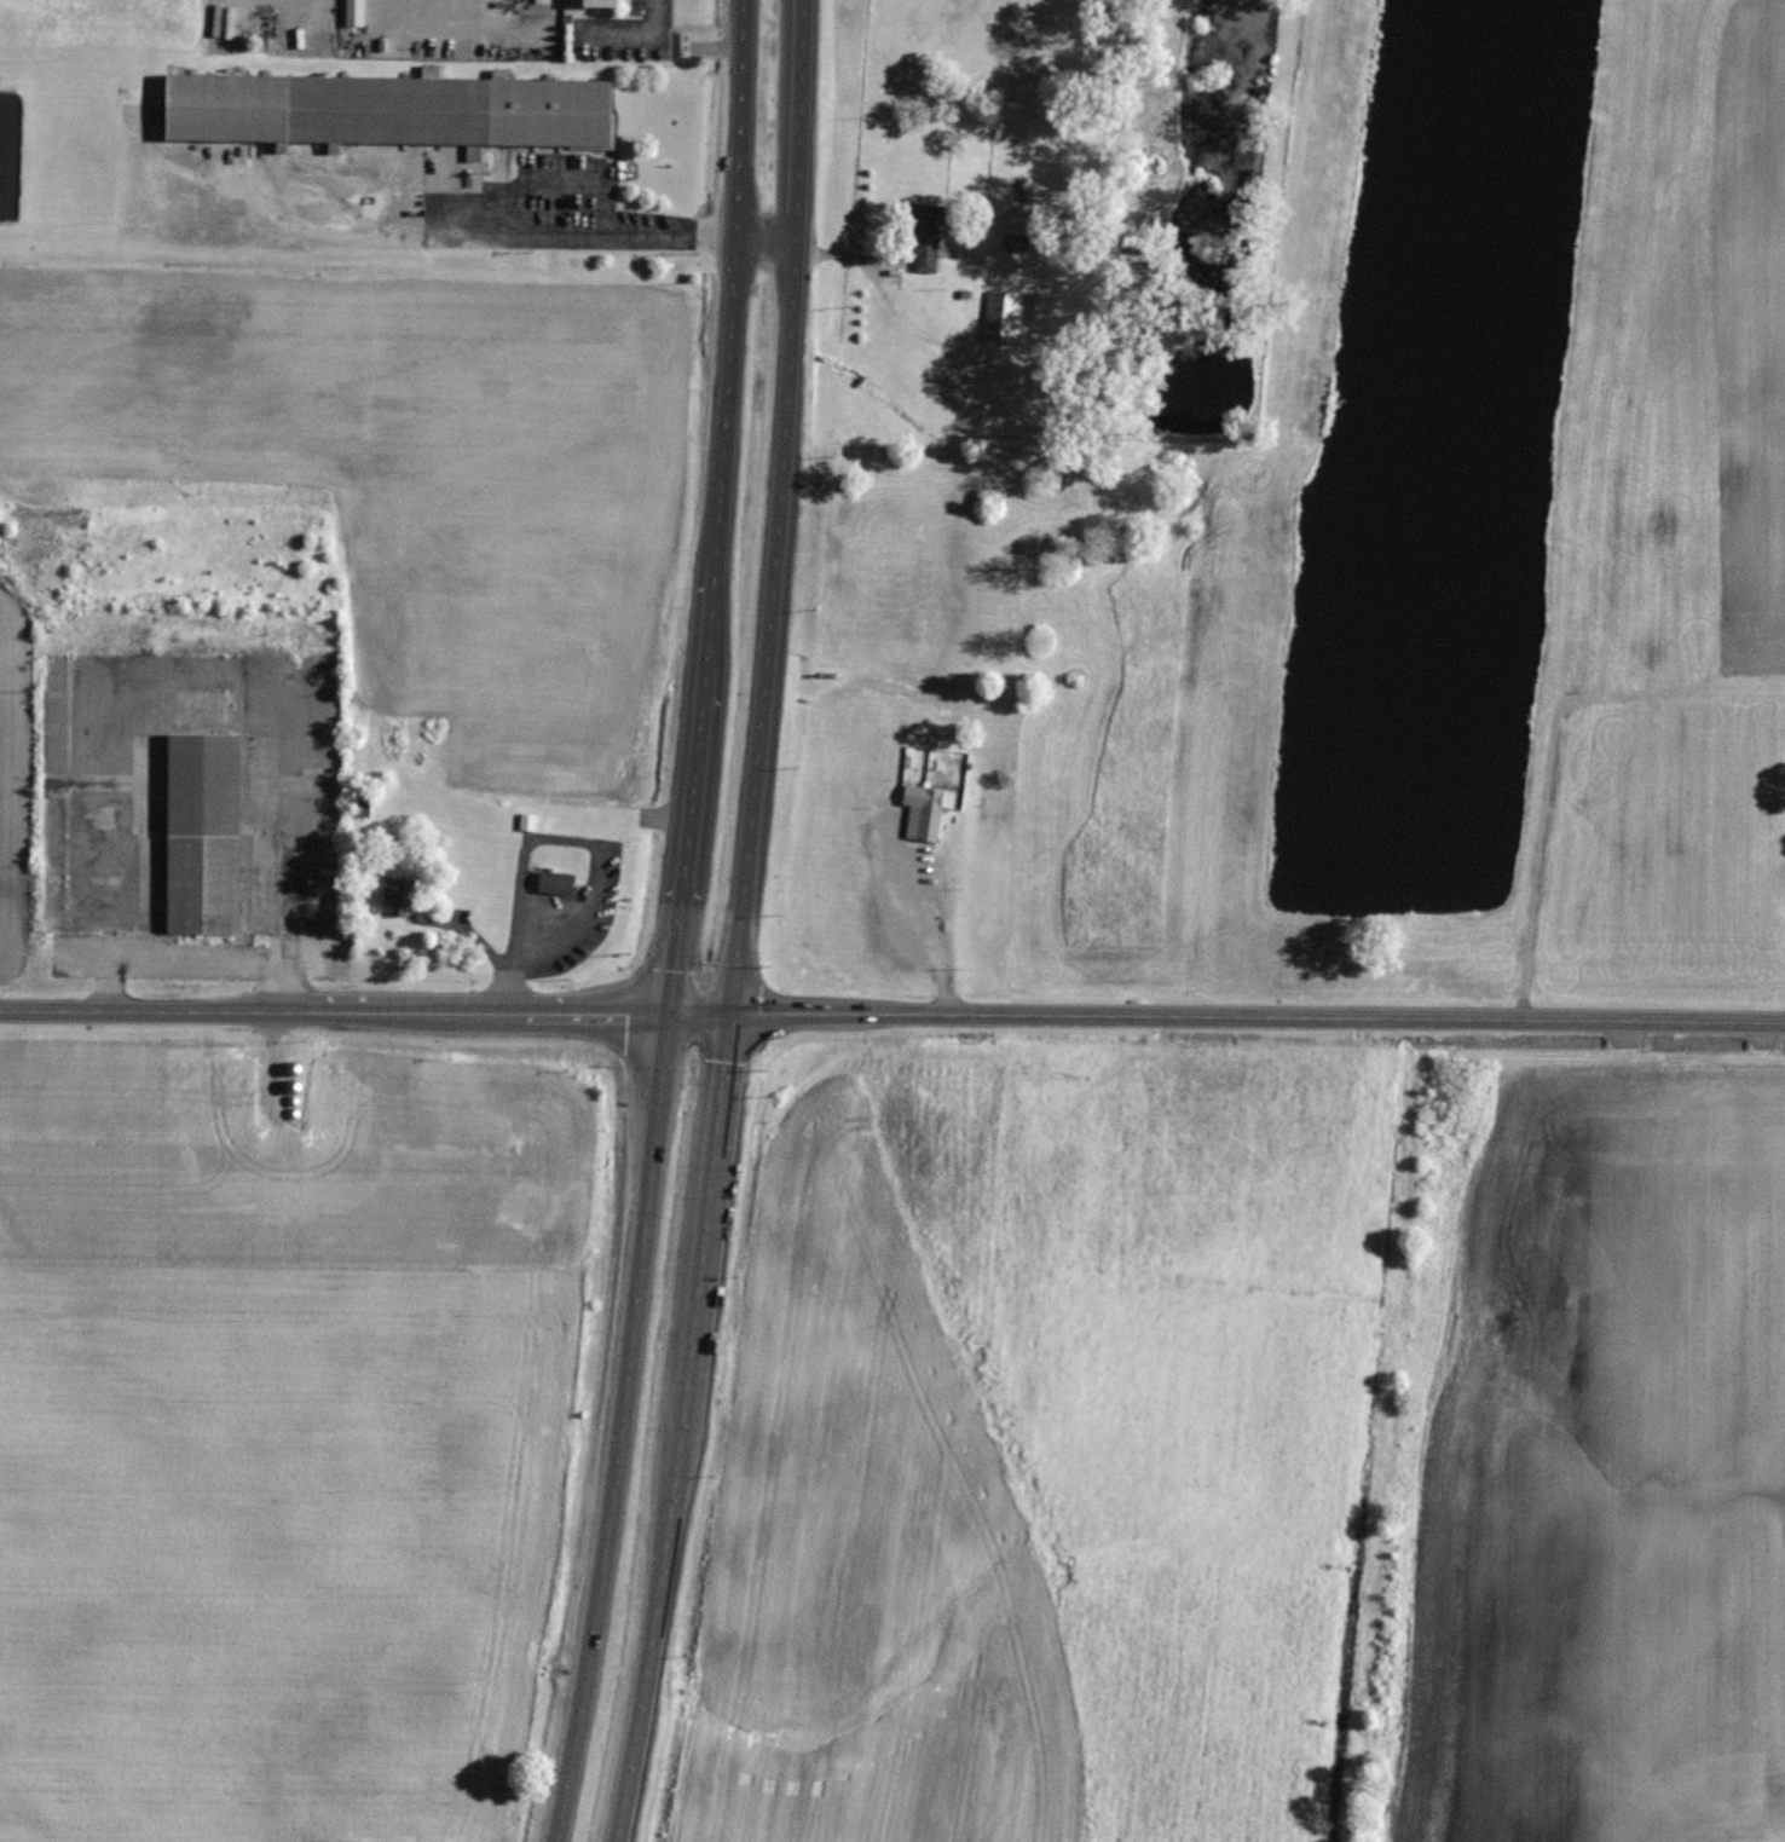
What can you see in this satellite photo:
building: (597, 2)
building: (353, 12)
building: (388, 109)
building: (1015, 230)
building: (924, 235)
road: (668, 236)
building: (1004, 313)
building: (928, 813)
building: (202, 832)
road: (555, 836)
building: (554, 880)
building: (399, 893)
road: (680, 923)
road: (743, 924)
road: (919, 925)
road: (366, 1011)
traffic signals: (672, 1015)
traffic signals: (733, 1015)
road: (1259, 1016)

